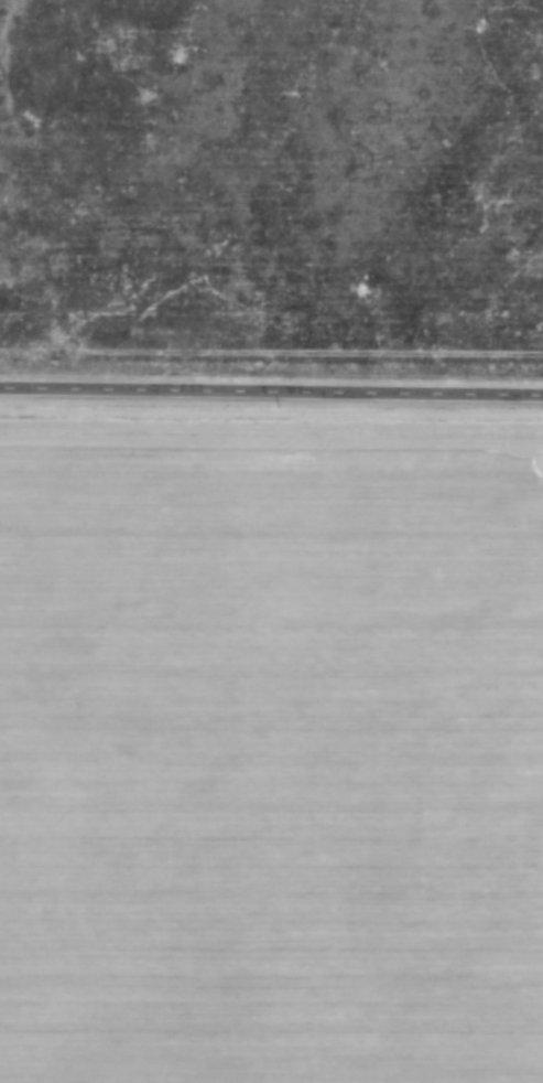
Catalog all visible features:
road: (271, 395)

